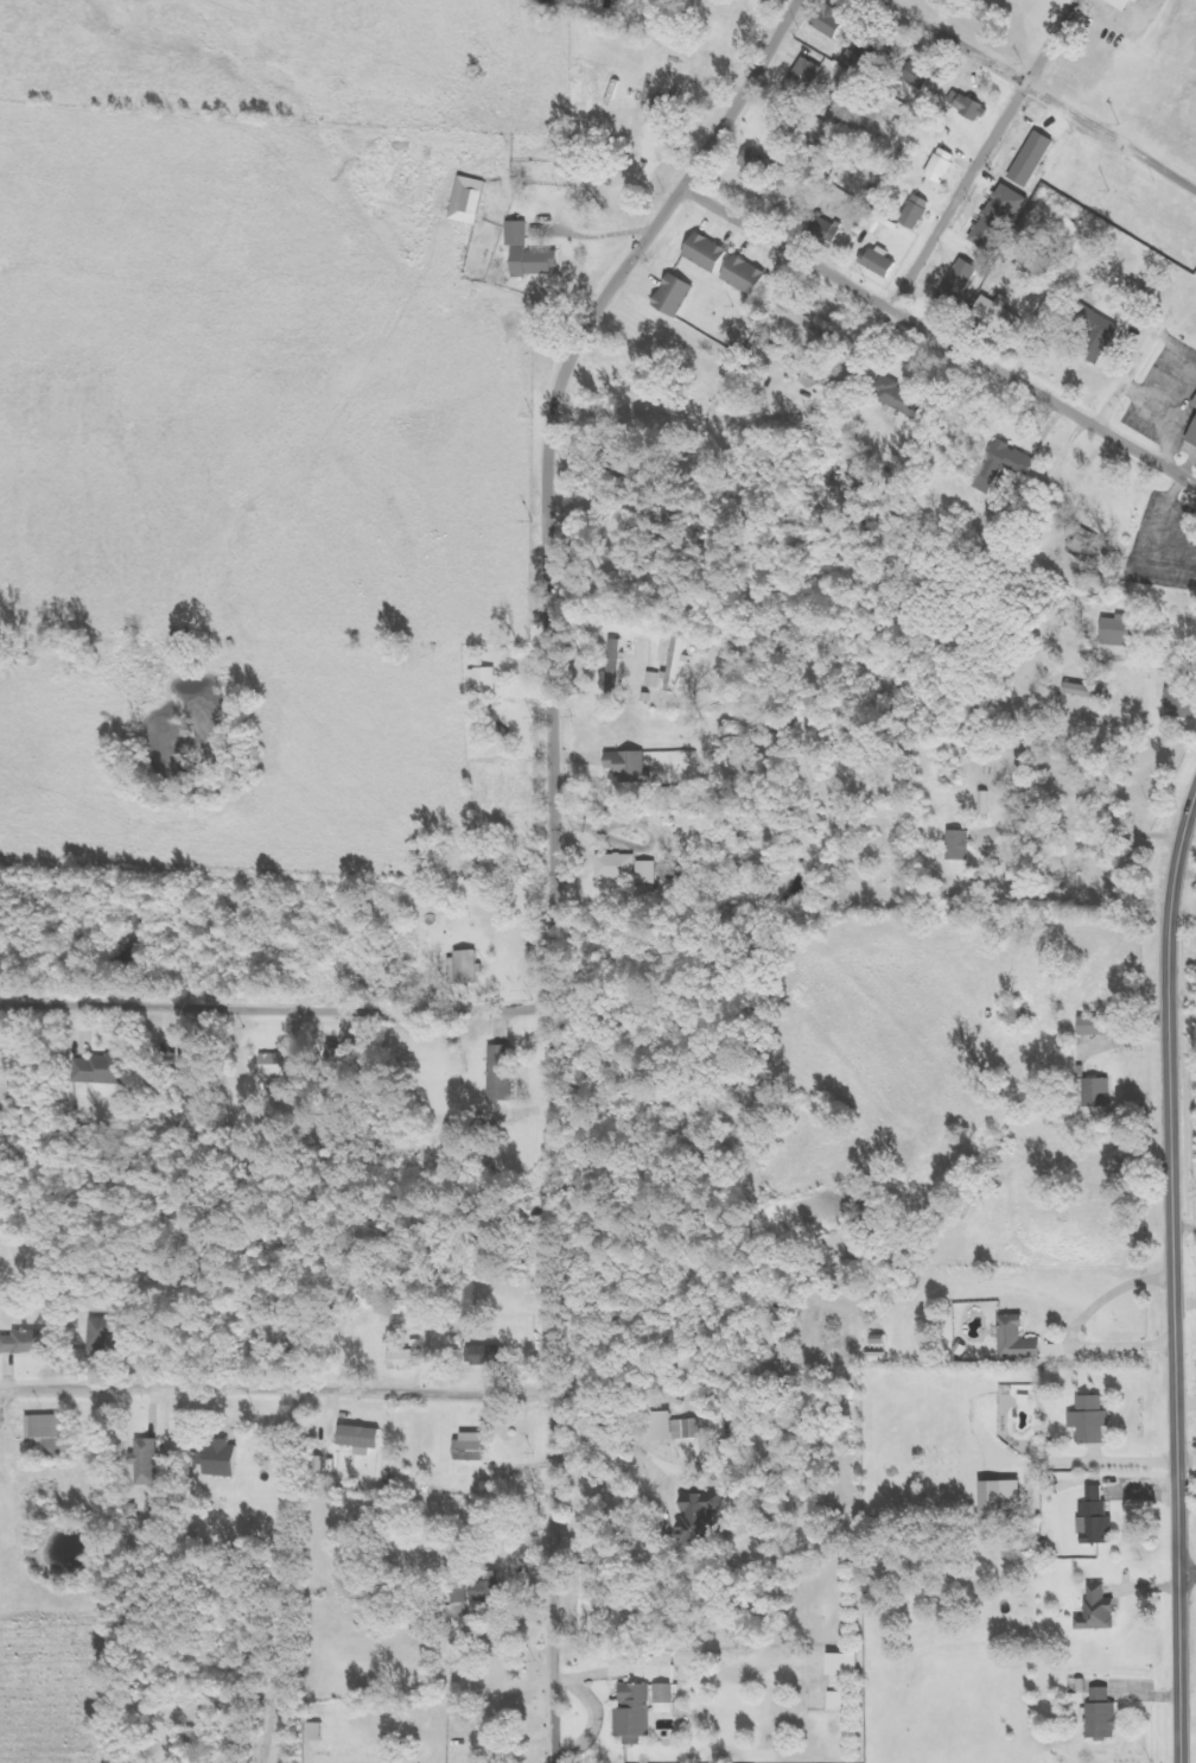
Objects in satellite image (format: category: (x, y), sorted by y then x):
building: (1143, 0)
building: (1127, 4)
building: (835, 21)
building: (880, 51)
building: (812, 74)
building: (922, 74)
road: (1038, 91)
building: (973, 104)
road: (984, 153)
building: (1037, 158)
building: (947, 165)
building: (770, 169)
building: (472, 199)
building: (921, 211)
building: (1005, 218)
building: (832, 230)
building: (534, 253)
building: (712, 253)
building: (884, 261)
building: (751, 275)
building: (962, 285)
building: (679, 294)
building: (1004, 313)
building: (1101, 334)
road: (937, 336)
road: (1145, 343)
building: (809, 372)
building: (902, 397)
road: (745, 417)
building: (1195, 440)
building: (1009, 465)
building: (1124, 629)
building: (490, 679)
building: (1089, 691)
building: (1184, 702)
building: (632, 766)
building: (990, 803)
road: (553, 845)
building: (965, 845)
building: (622, 865)
building: (472, 969)
road: (276, 1010)
building: (1100, 1026)
building: (190, 1067)
building: (297, 1068)
building: (104, 1070)
building: (275, 1071)
building: (507, 1073)
building: (7, 1089)
building: (1101, 1092)
road: (1171, 1274)
building: (108, 1337)
building: (1023, 1340)
building: (28, 1343)
building: (490, 1356)
building: (407, 1361)
road: (276, 1387)
building: (1095, 1420)
building: (696, 1435)
building: (52, 1438)
building: (365, 1439)
building: (478, 1446)
building: (228, 1459)
building: (152, 1463)
building: (1000, 1497)
building: (1100, 1517)
building: (704, 1520)
road: (1187, 1571)
building: (498, 1594)
building: (459, 1602)
building: (1103, 1611)
building: (851, 1664)
building: (669, 1698)
building: (842, 1700)
building: (1103, 1713)
building: (640, 1714)
building: (320, 1731)

